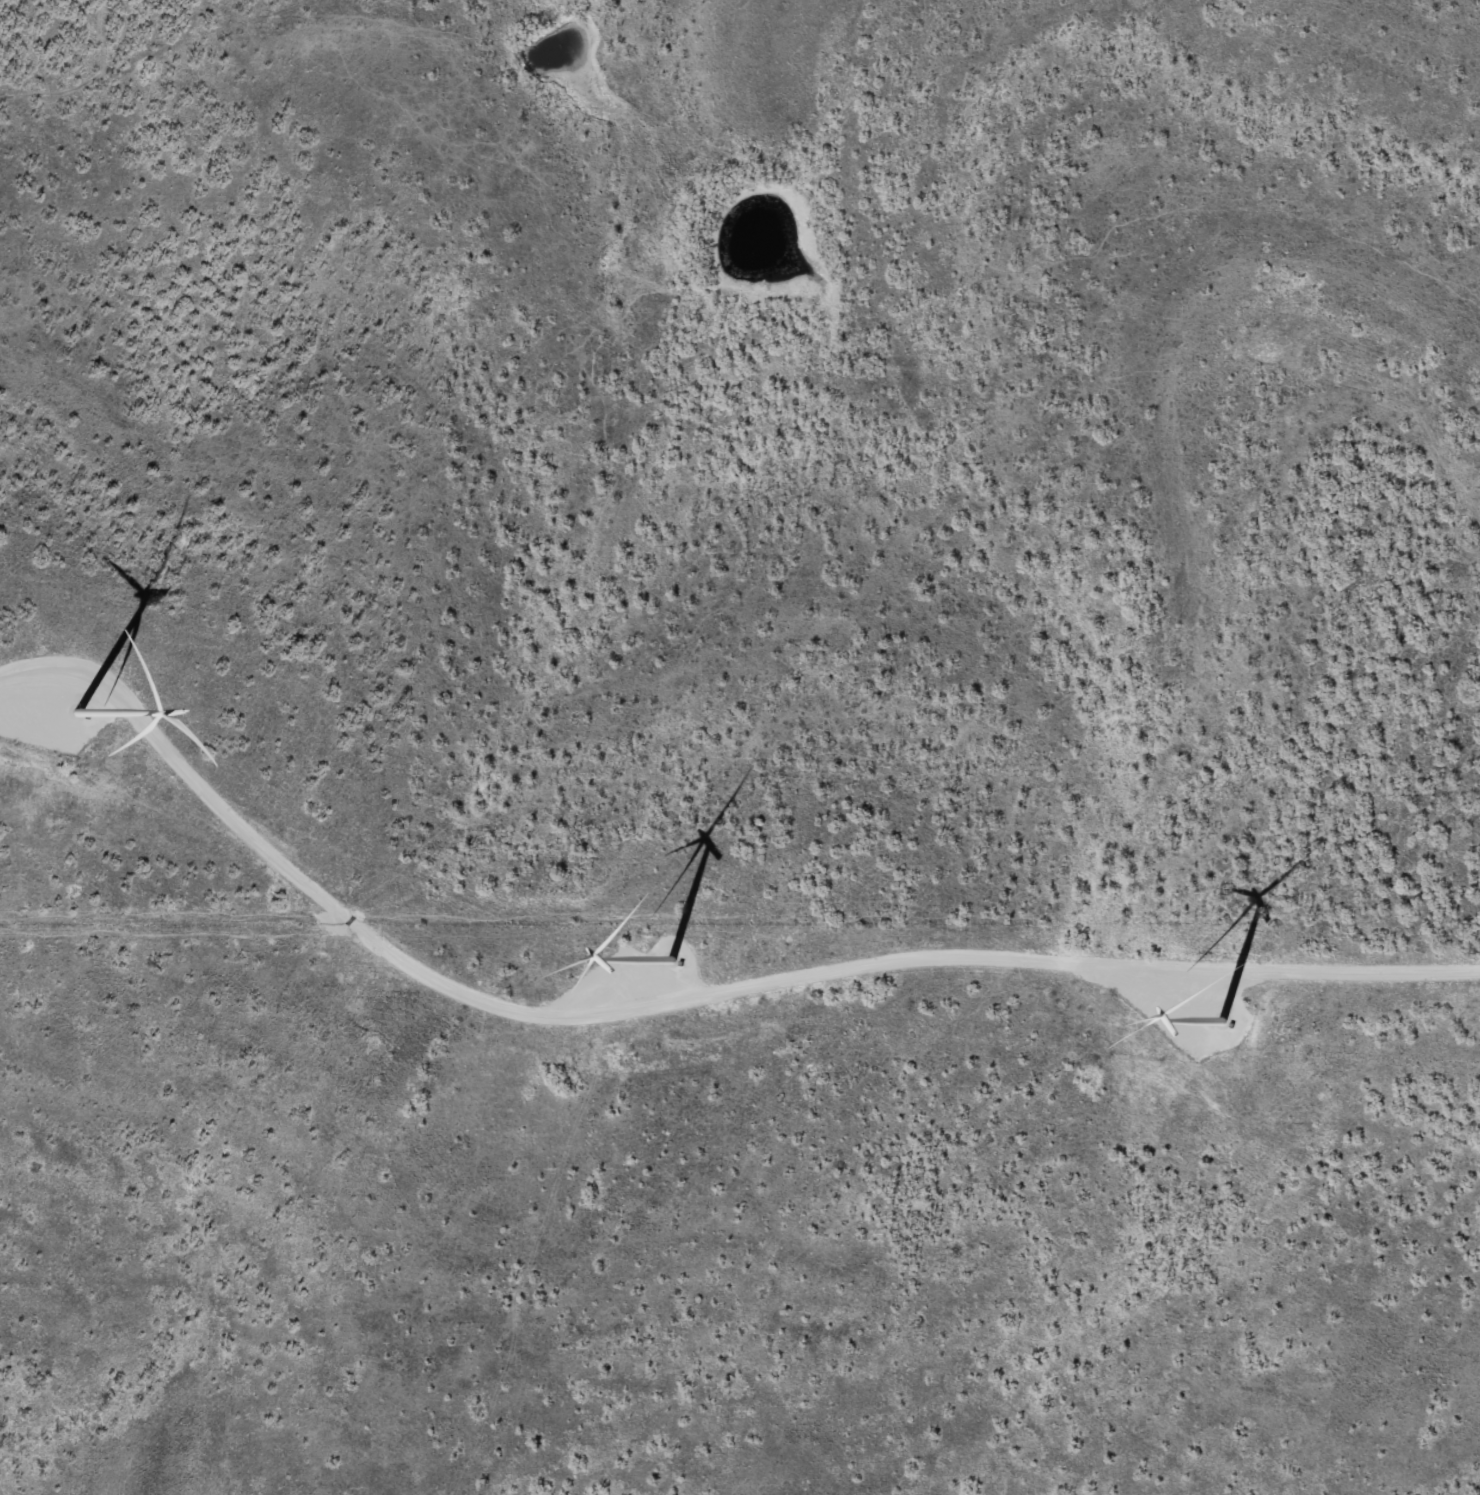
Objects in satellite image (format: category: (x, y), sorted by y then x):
road: (134, 43)
wind turbine: (81, 720)
wind turbine: (677, 977)
wind turbine: (1213, 1028)

